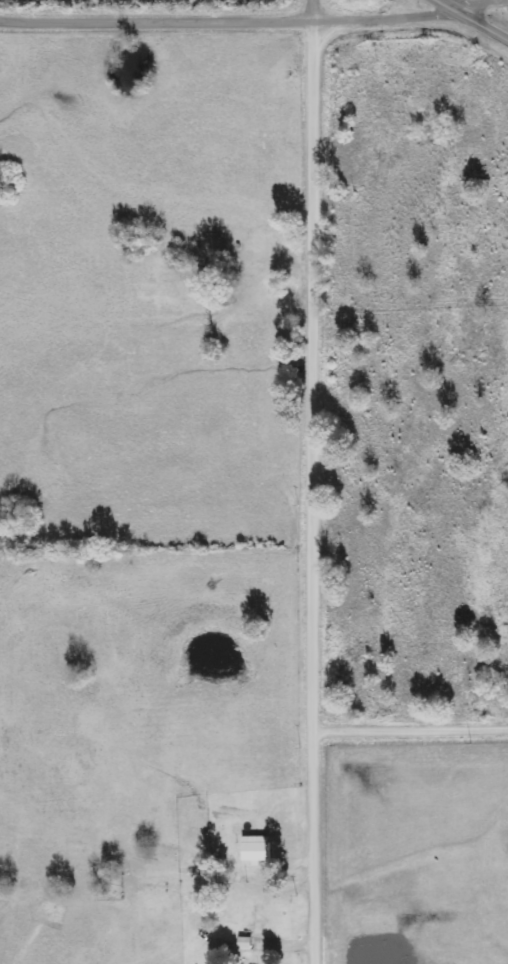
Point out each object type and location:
road: (502, 0)
road: (447, 13)
road: (475, 18)
road: (198, 20)
road: (311, 482)
road: (409, 728)
building: (255, 849)

